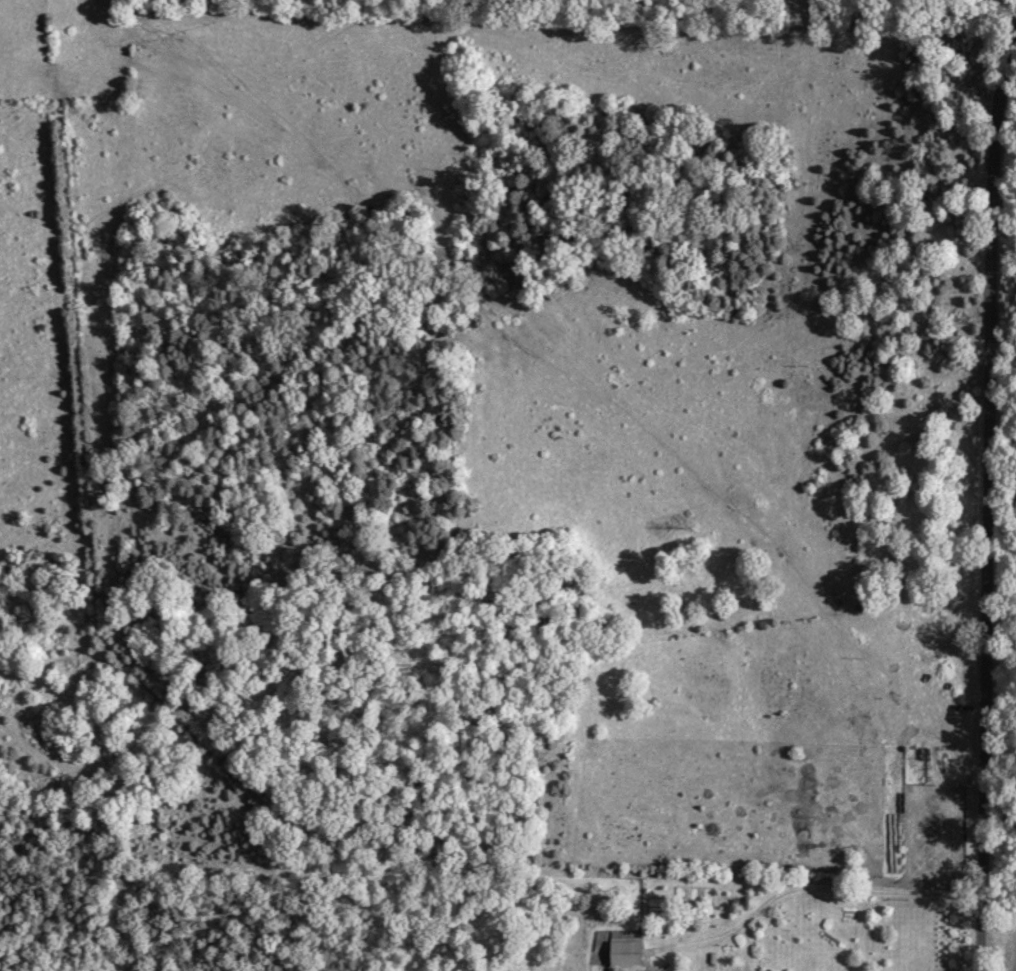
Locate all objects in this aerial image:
road: (988, 484)
building: (628, 952)

